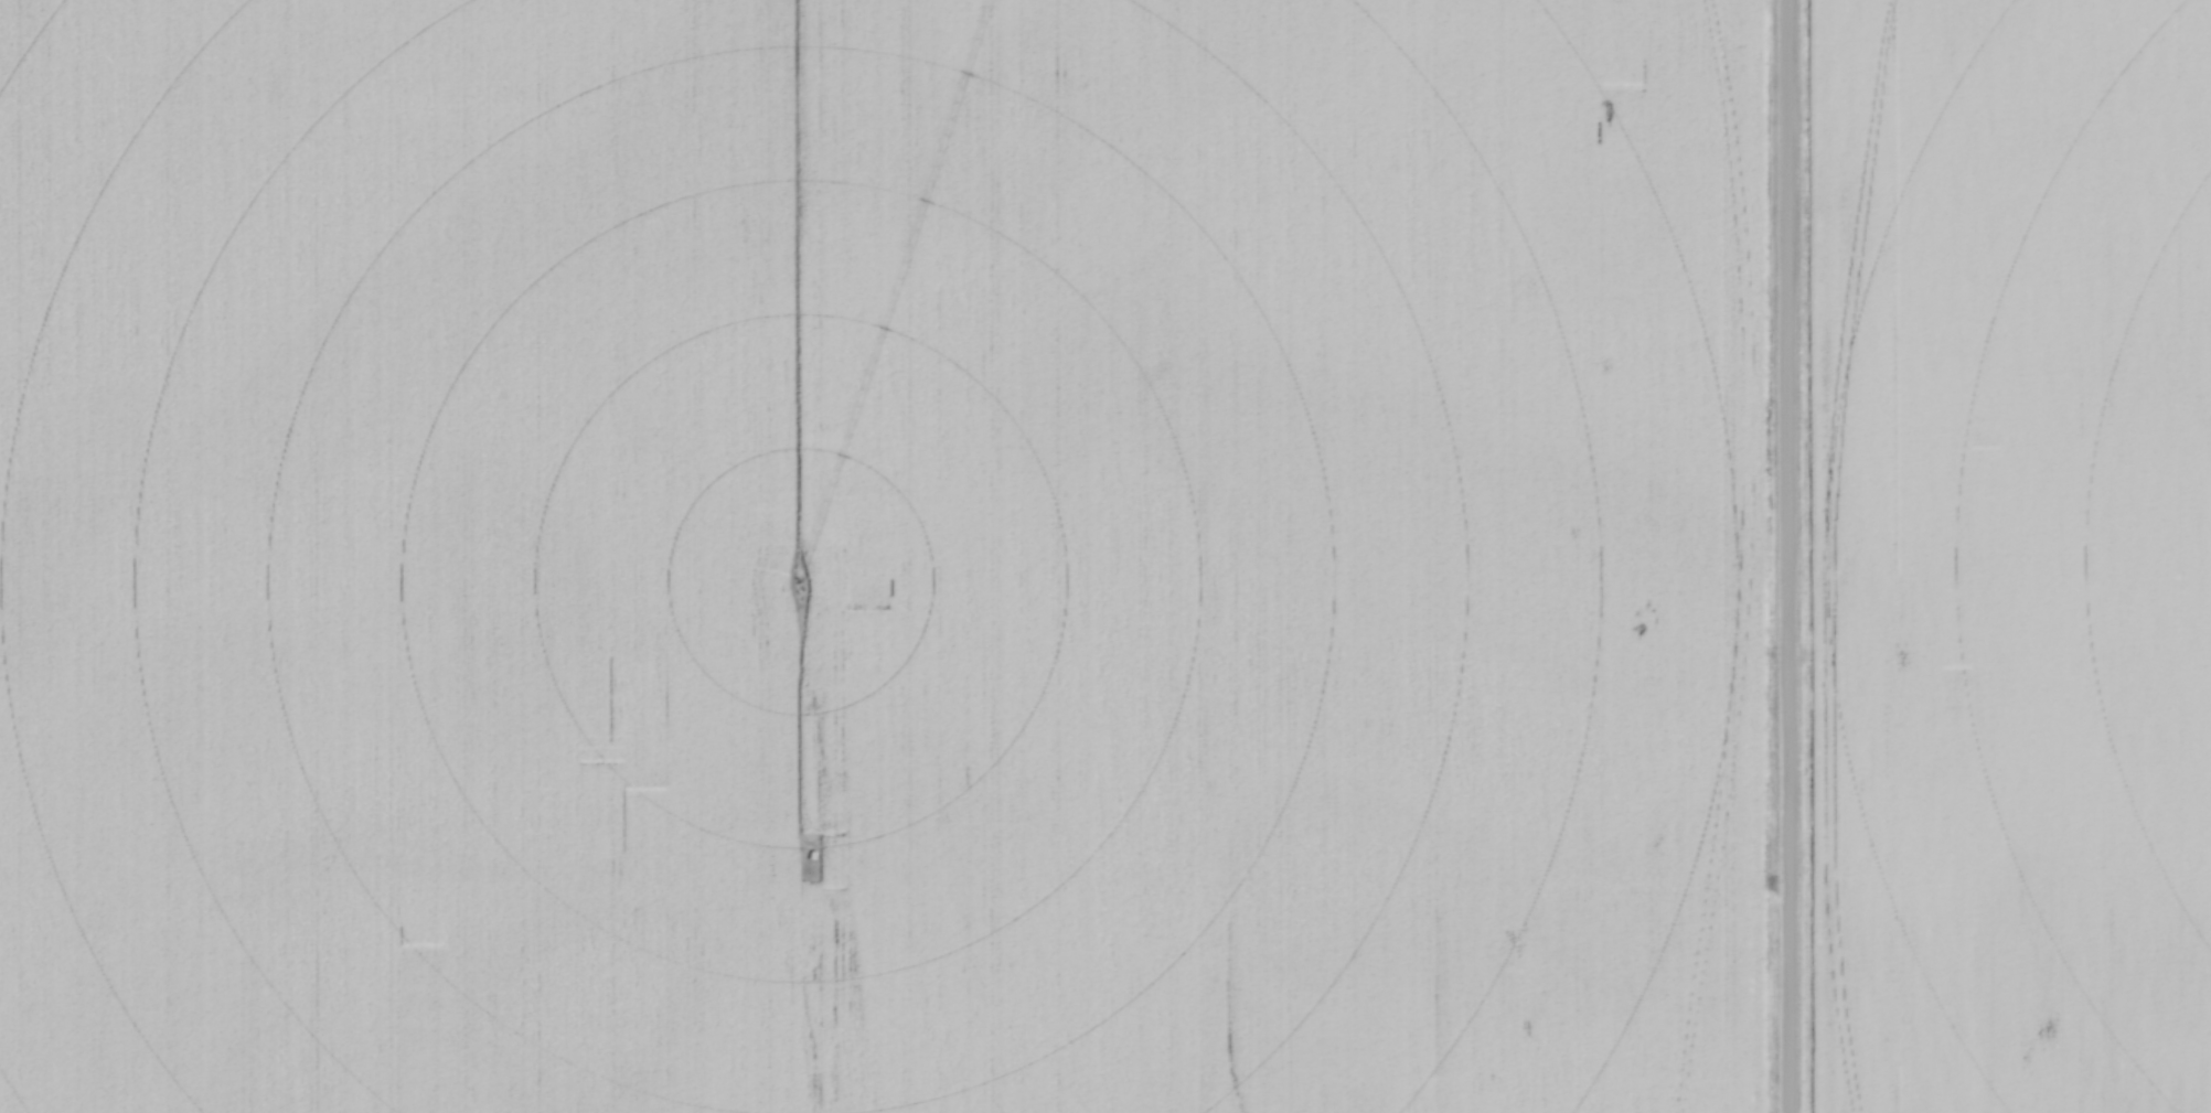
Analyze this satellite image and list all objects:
road: (1791, 556)

